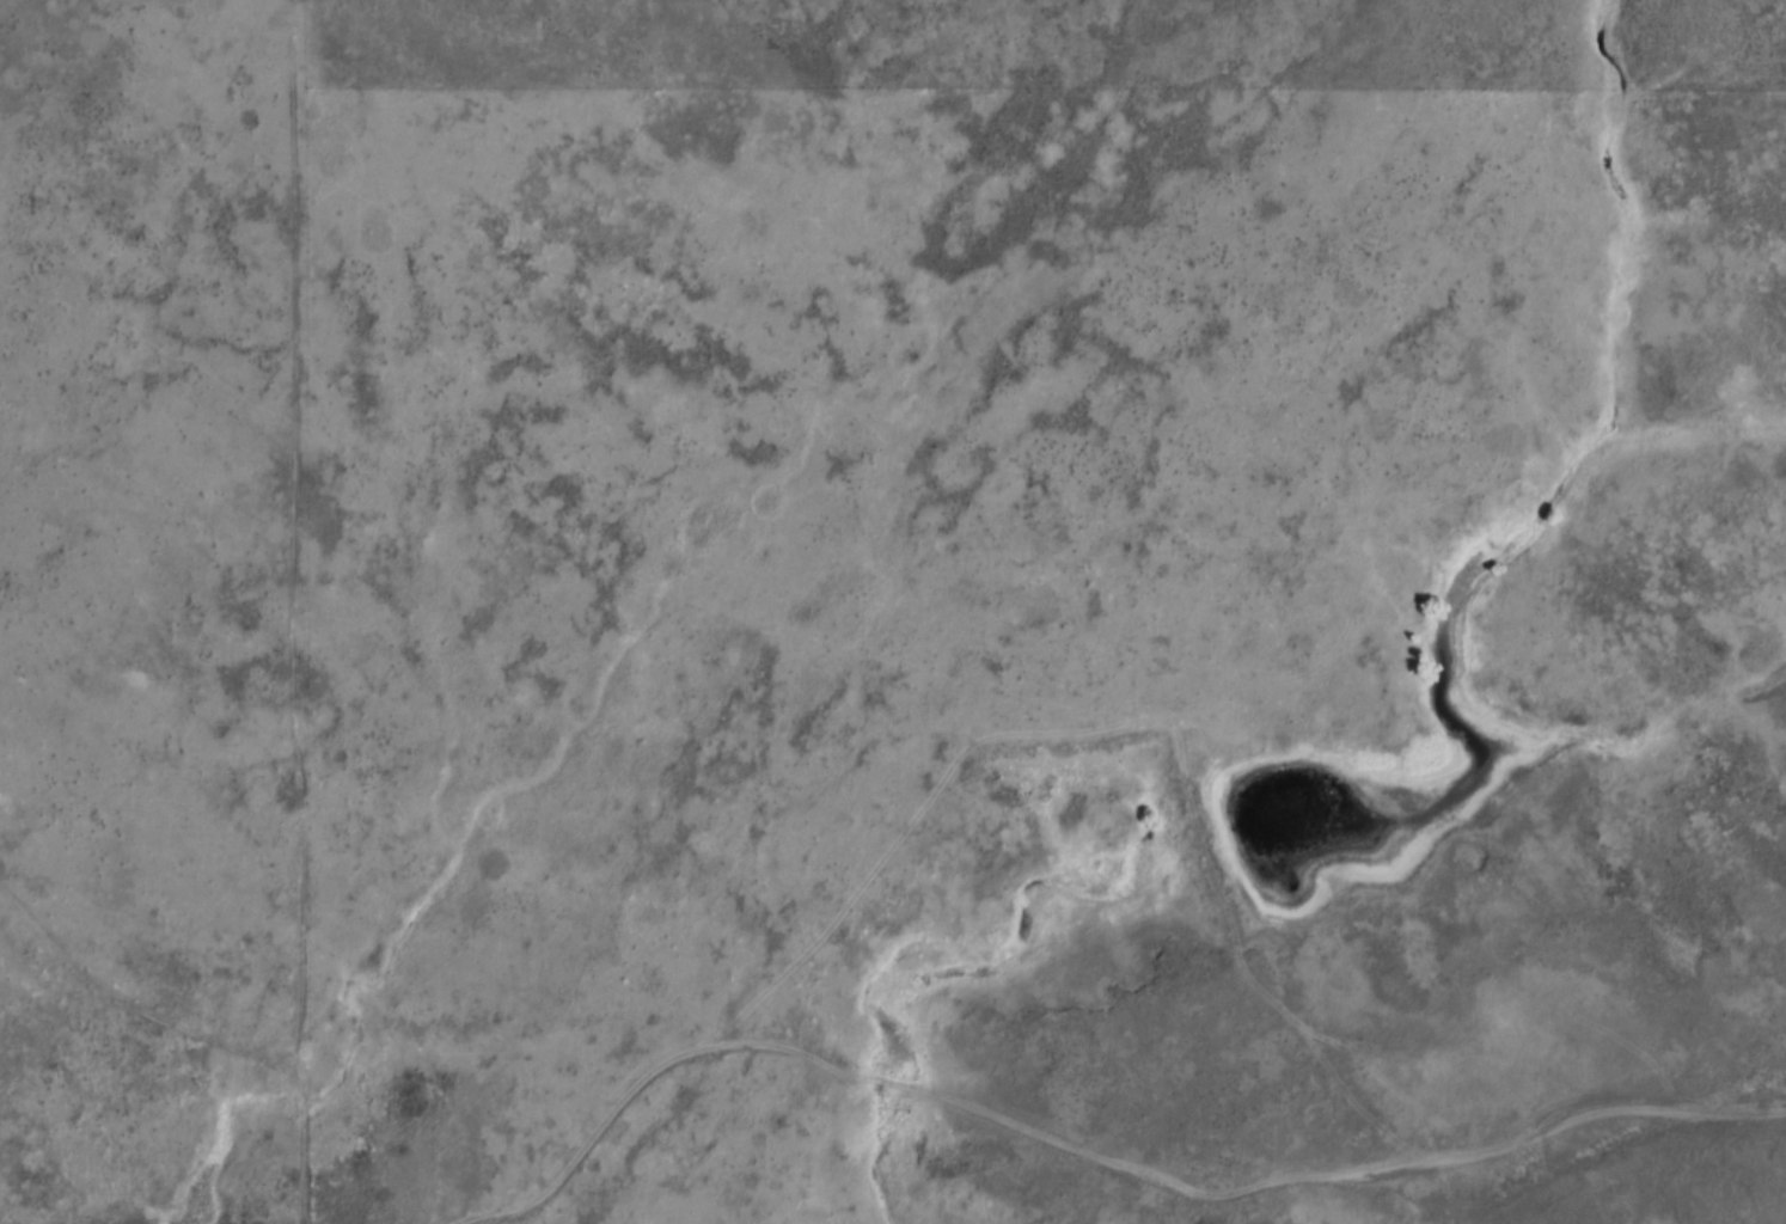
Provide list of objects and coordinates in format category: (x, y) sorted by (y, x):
road: (198, 1033)
road: (1106, 1161)

